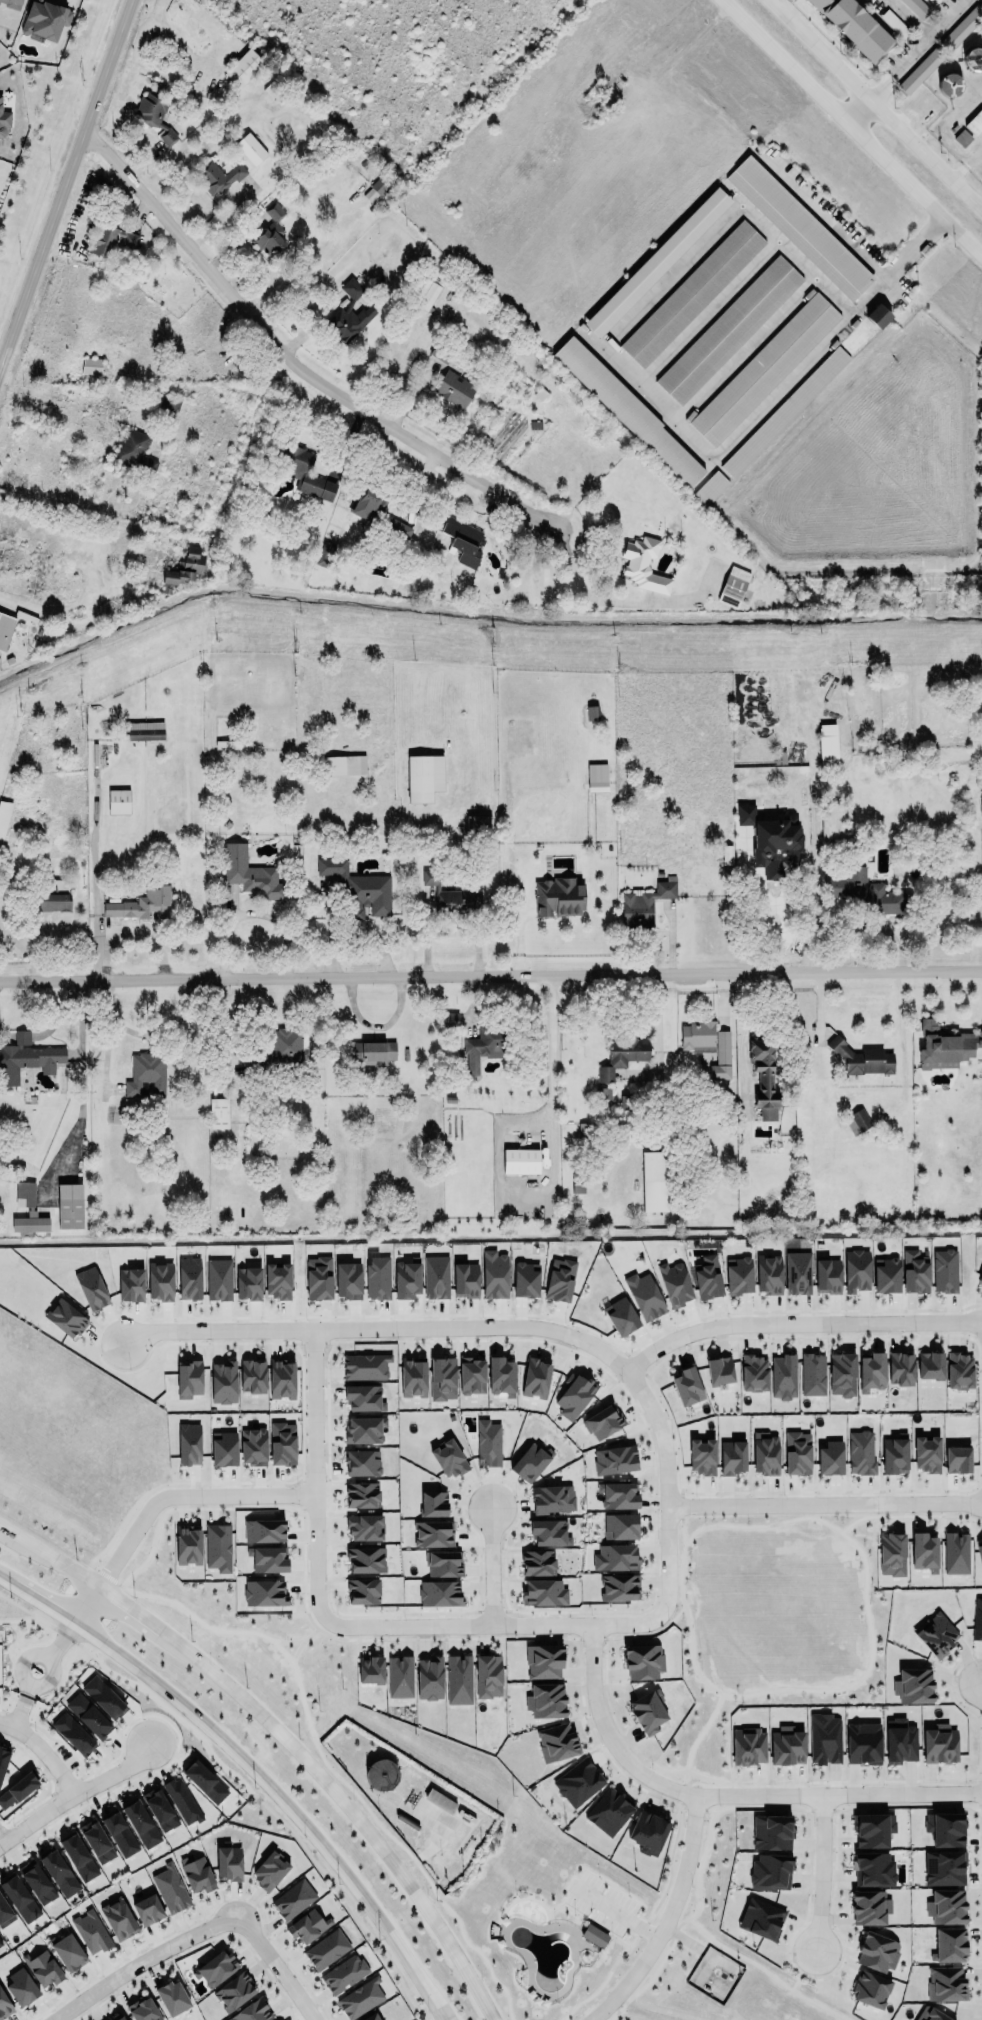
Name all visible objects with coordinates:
building: (12, 3)
building: (917, 7)
building: (45, 19)
road: (911, 19)
building: (856, 27)
building: (961, 28)
road: (226, 38)
road: (925, 44)
building: (972, 59)
building: (243, 68)
building: (920, 71)
building: (950, 85)
road: (863, 105)
road: (875, 107)
building: (155, 115)
building: (4, 120)
building: (975, 123)
road: (852, 127)
building: (962, 138)
building: (251, 146)
road: (965, 167)
building: (220, 173)
road: (66, 186)
building: (799, 226)
building: (270, 232)
building: (112, 240)
road: (850, 245)
building: (657, 262)
building: (351, 288)
building: (692, 293)
building: (427, 295)
building: (878, 315)
building: (346, 322)
building: (728, 330)
road: (295, 360)
road: (621, 365)
building: (765, 368)
building: (454, 389)
building: (171, 400)
building: (785, 411)
building: (629, 412)
building: (133, 448)
building: (304, 471)
building: (710, 487)
road: (76, 513)
building: (398, 528)
building: (463, 537)
building: (643, 564)
building: (185, 566)
building: (733, 586)
road: (585, 591)
building: (5, 630)
building: (592, 712)
building: (144, 730)
building: (827, 744)
building: (342, 765)
building: (424, 777)
building: (596, 777)
building: (118, 801)
building: (3, 819)
building: (832, 820)
building: (478, 824)
building: (251, 871)
building: (358, 887)
building: (866, 891)
road: (420, 894)
building: (559, 895)
building: (451, 898)
building: (142, 901)
building: (53, 902)
building: (644, 904)
road: (851, 923)
road: (470, 934)
road: (491, 974)
building: (450, 1019)
building: (699, 1035)
building: (946, 1044)
building: (285, 1045)
building: (483, 1047)
building: (373, 1052)
building: (623, 1055)
building: (722, 1056)
building: (26, 1058)
building: (862, 1058)
road: (552, 1061)
building: (146, 1073)
building: (764, 1078)
building: (603, 1096)
building: (218, 1113)
building: (857, 1121)
building: (520, 1161)
building: (654, 1181)
building: (24, 1194)
building: (69, 1206)
building: (30, 1223)
building: (945, 1268)
building: (856, 1270)
building: (768, 1271)
building: (797, 1271)
building: (915, 1271)
building: (886, 1272)
building: (494, 1274)
building: (739, 1274)
building: (318, 1275)
building: (377, 1276)
building: (707, 1276)
building: (827, 1276)
building: (436, 1277)
building: (979, 1277)
building: (189, 1278)
building: (407, 1278)
building: (465, 1278)
building: (559, 1278)
building: (218, 1279)
building: (525, 1279)
building: (247, 1280)
building: (348, 1280)
building: (160, 1281)
building: (277, 1281)
building: (672, 1282)
building: (130, 1285)
building: (91, 1288)
building: (643, 1293)
building: (621, 1313)
building: (66, 1318)
road: (798, 1323)
road: (394, 1328)
building: (930, 1365)
building: (366, 1366)
building: (900, 1368)
building: (753, 1370)
building: (719, 1371)
building: (959, 1371)
building: (871, 1372)
building: (782, 1374)
building: (812, 1374)
building: (842, 1374)
building: (500, 1375)
building: (536, 1375)
building: (253, 1376)
building: (413, 1376)
building: (472, 1376)
building: (442, 1378)
building: (189, 1379)
building: (282, 1379)
building: (223, 1382)
building: (687, 1386)
building: (362, 1394)
building: (573, 1395)
building: (603, 1422)
building: (364, 1430)
building: (188, 1442)
building: (487, 1442)
building: (282, 1443)
building: (253, 1447)
building: (223, 1449)
building: (796, 1449)
building: (927, 1451)
building: (861, 1452)
building: (701, 1453)
building: (765, 1453)
building: (894, 1455)
building: (732, 1456)
building: (830, 1458)
building: (448, 1459)
building: (530, 1459)
building: (957, 1459)
building: (615, 1460)
building: (362, 1463)
road: (666, 1487)
road: (313, 1491)
building: (362, 1495)
building: (618, 1495)
building: (552, 1498)
road: (162, 1500)
building: (433, 1503)
road: (824, 1503)
building: (362, 1524)
building: (620, 1526)
building: (263, 1528)
building: (549, 1532)
building: (433, 1534)
building: (188, 1546)
building: (217, 1546)
building: (924, 1552)
building: (979, 1552)
building: (956, 1553)
building: (892, 1554)
building: (615, 1557)
building: (268, 1559)
building: (366, 1560)
building: (537, 1560)
building: (444, 1563)
road: (490, 1566)
building: (619, 1587)
building: (542, 1590)
building: (363, 1591)
building: (263, 1592)
building: (439, 1593)
building: (976, 1617)
road: (510, 1624)
building: (935, 1632)
road: (59, 1640)
building: (543, 1661)
building: (643, 1661)
building: (370, 1667)
road: (21, 1670)
building: (400, 1676)
building: (488, 1676)
building: (429, 1678)
building: (458, 1679)
building: (545, 1697)
building: (646, 1708)
building: (88, 1716)
road: (3, 1725)
road: (608, 1733)
building: (73, 1734)
road: (285, 1734)
building: (825, 1739)
building: (900, 1741)
building: (557, 1742)
building: (786, 1743)
building: (863, 1743)
building: (940, 1744)
building: (749, 1746)
road: (252, 1767)
road: (53, 1772)
building: (381, 1774)
building: (578, 1782)
building: (18, 1789)
road: (839, 1794)
building: (439, 1801)
building: (609, 1811)
road: (32, 1814)
building: (141, 1822)
building: (872, 1826)
building: (771, 1829)
building: (945, 1829)
building: (648, 1832)
building: (120, 1834)
road: (0, 1835)
building: (96, 1841)
building: (78, 1857)
building: (229, 1860)
building: (944, 1868)
building: (771, 1869)
road: (823, 1869)
building: (873, 1869)
building: (270, 1870)
building: (59, 1873)
building: (197, 1873)
building: (37, 1882)
building: (171, 1887)
building: (294, 1898)
building: (20, 1899)
building: (947, 1906)
building: (870, 1907)
building: (148, 1909)
building: (5, 1911)
road: (618, 1913)
building: (118, 1919)
building: (761, 1919)
road: (667, 1920)
building: (307, 1926)
building: (91, 1931)
building: (594, 1935)
building: (949, 1941)
building: (0, 1943)
building: (877, 1947)
building: (328, 1948)
building: (68, 1952)
road: (138, 1957)
road: (282, 1960)
building: (216, 1967)
building: (44, 1969)
building: (344, 1974)
building: (946, 1983)
building: (21, 1984)
building: (235, 1990)
building: (871, 1990)
building: (173, 1997)
building: (361, 1998)
building: (4, 2006)
building: (143, 2010)
building: (252, 2012)
building: (931, 2014)
building: (117, 2017)
building: (371, 2017)

